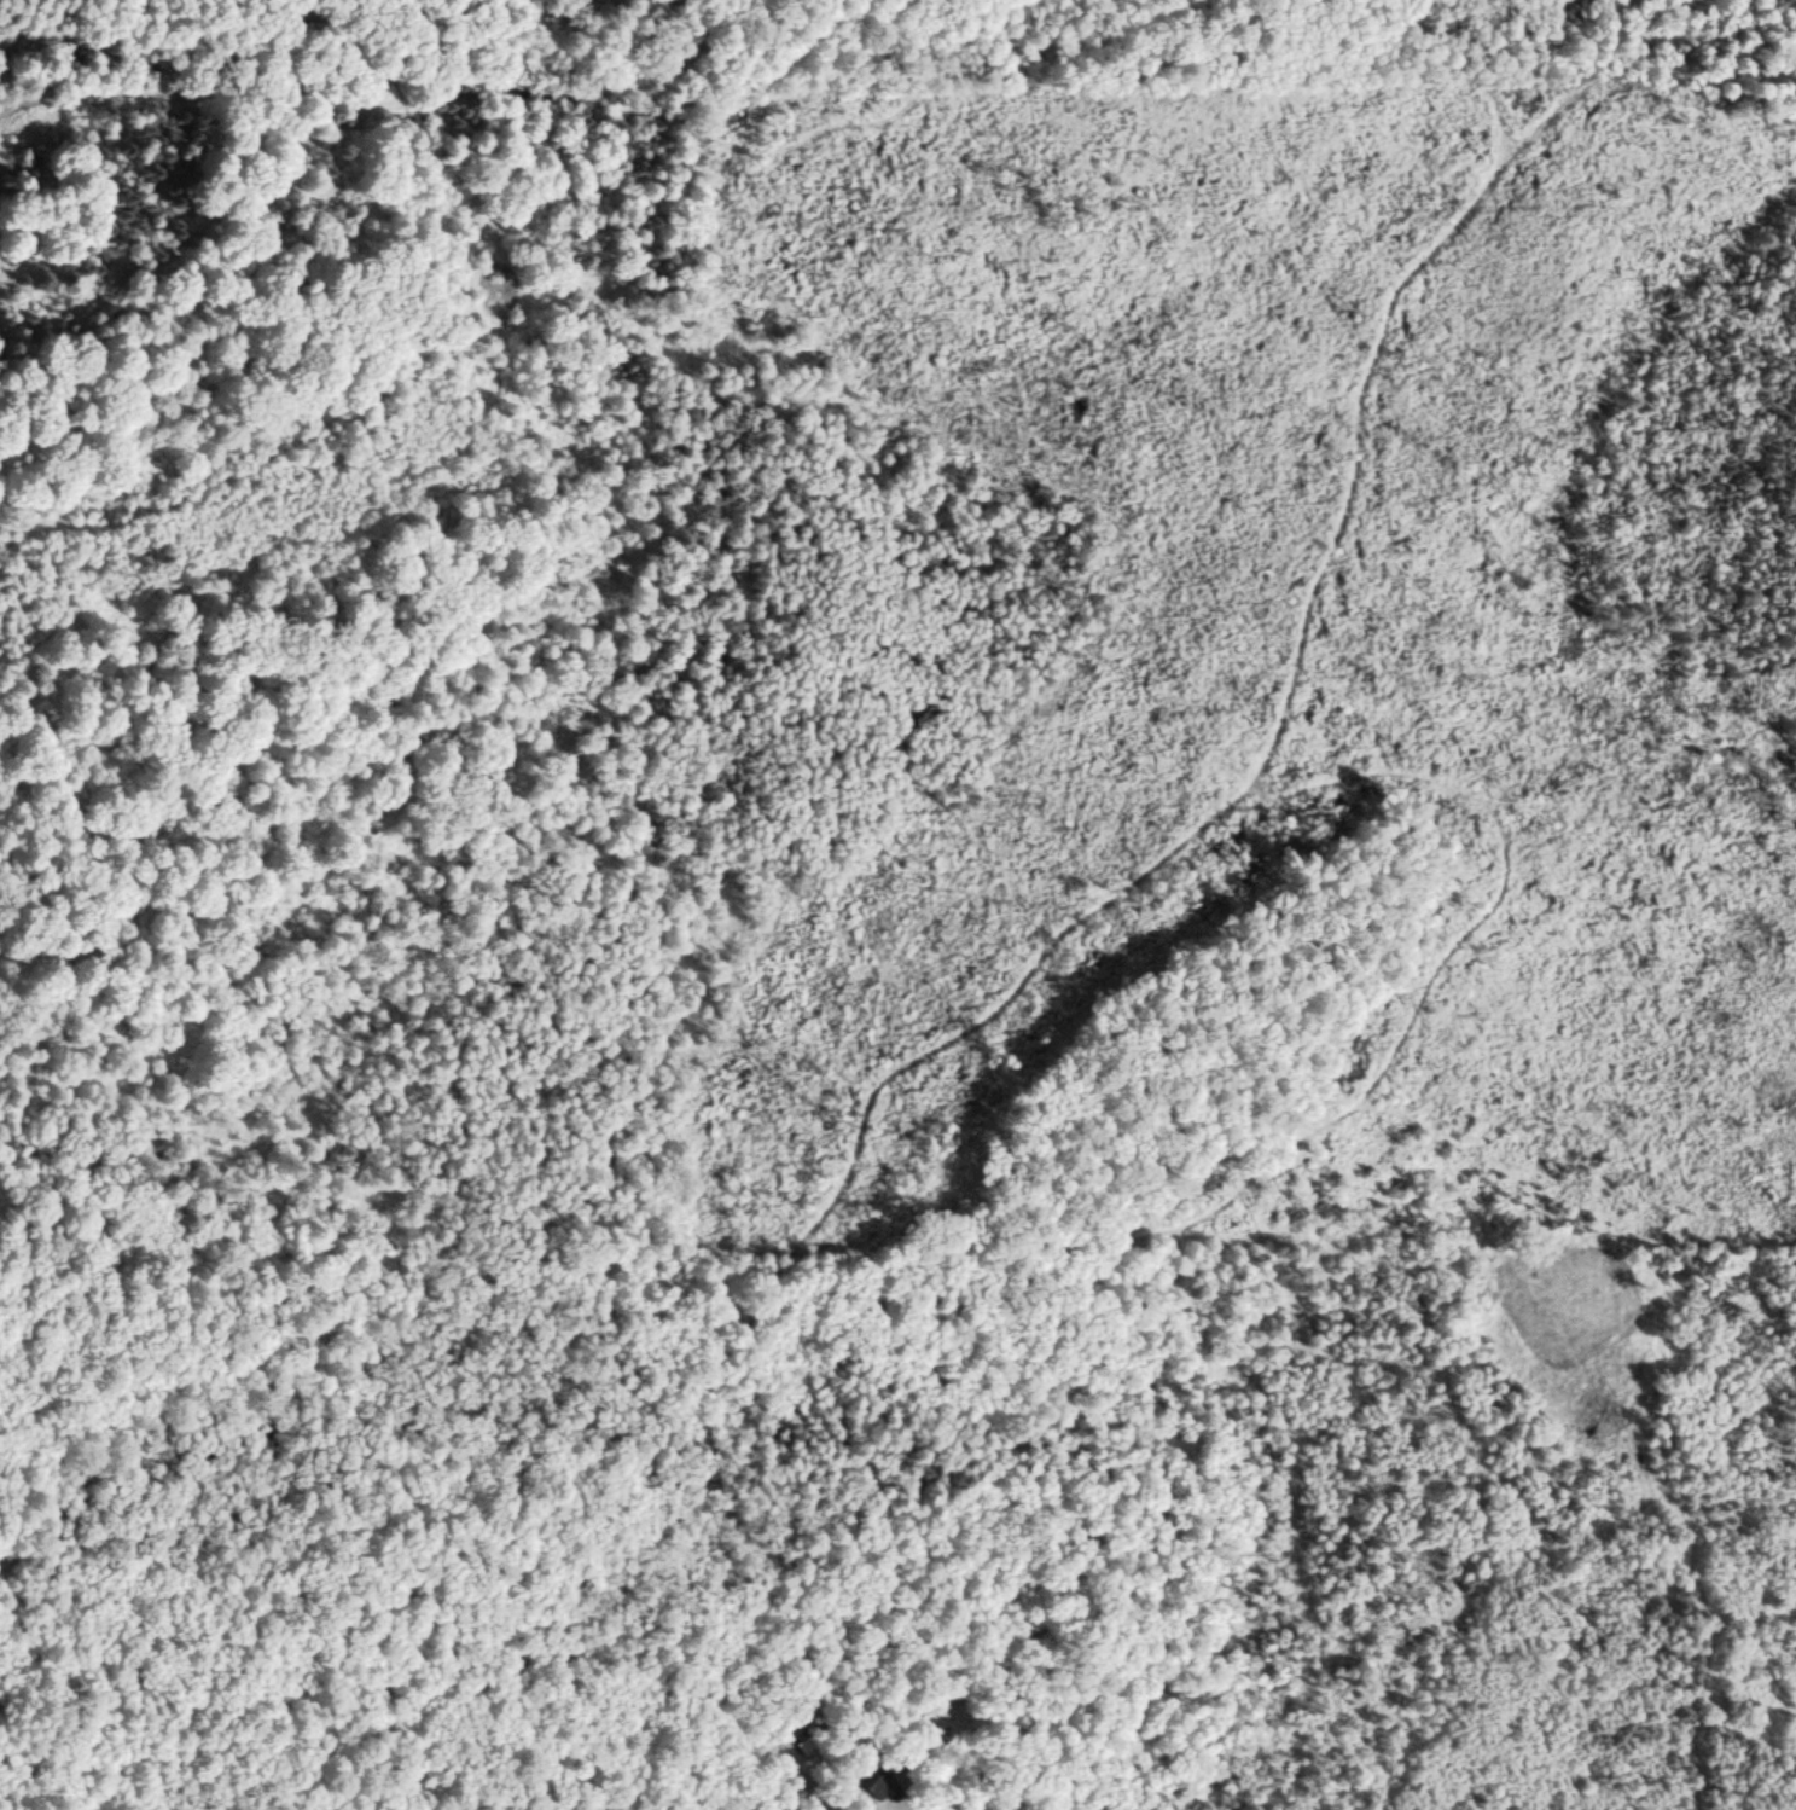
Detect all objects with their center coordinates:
building: (880, 1783)
road: (1163, 1800)

